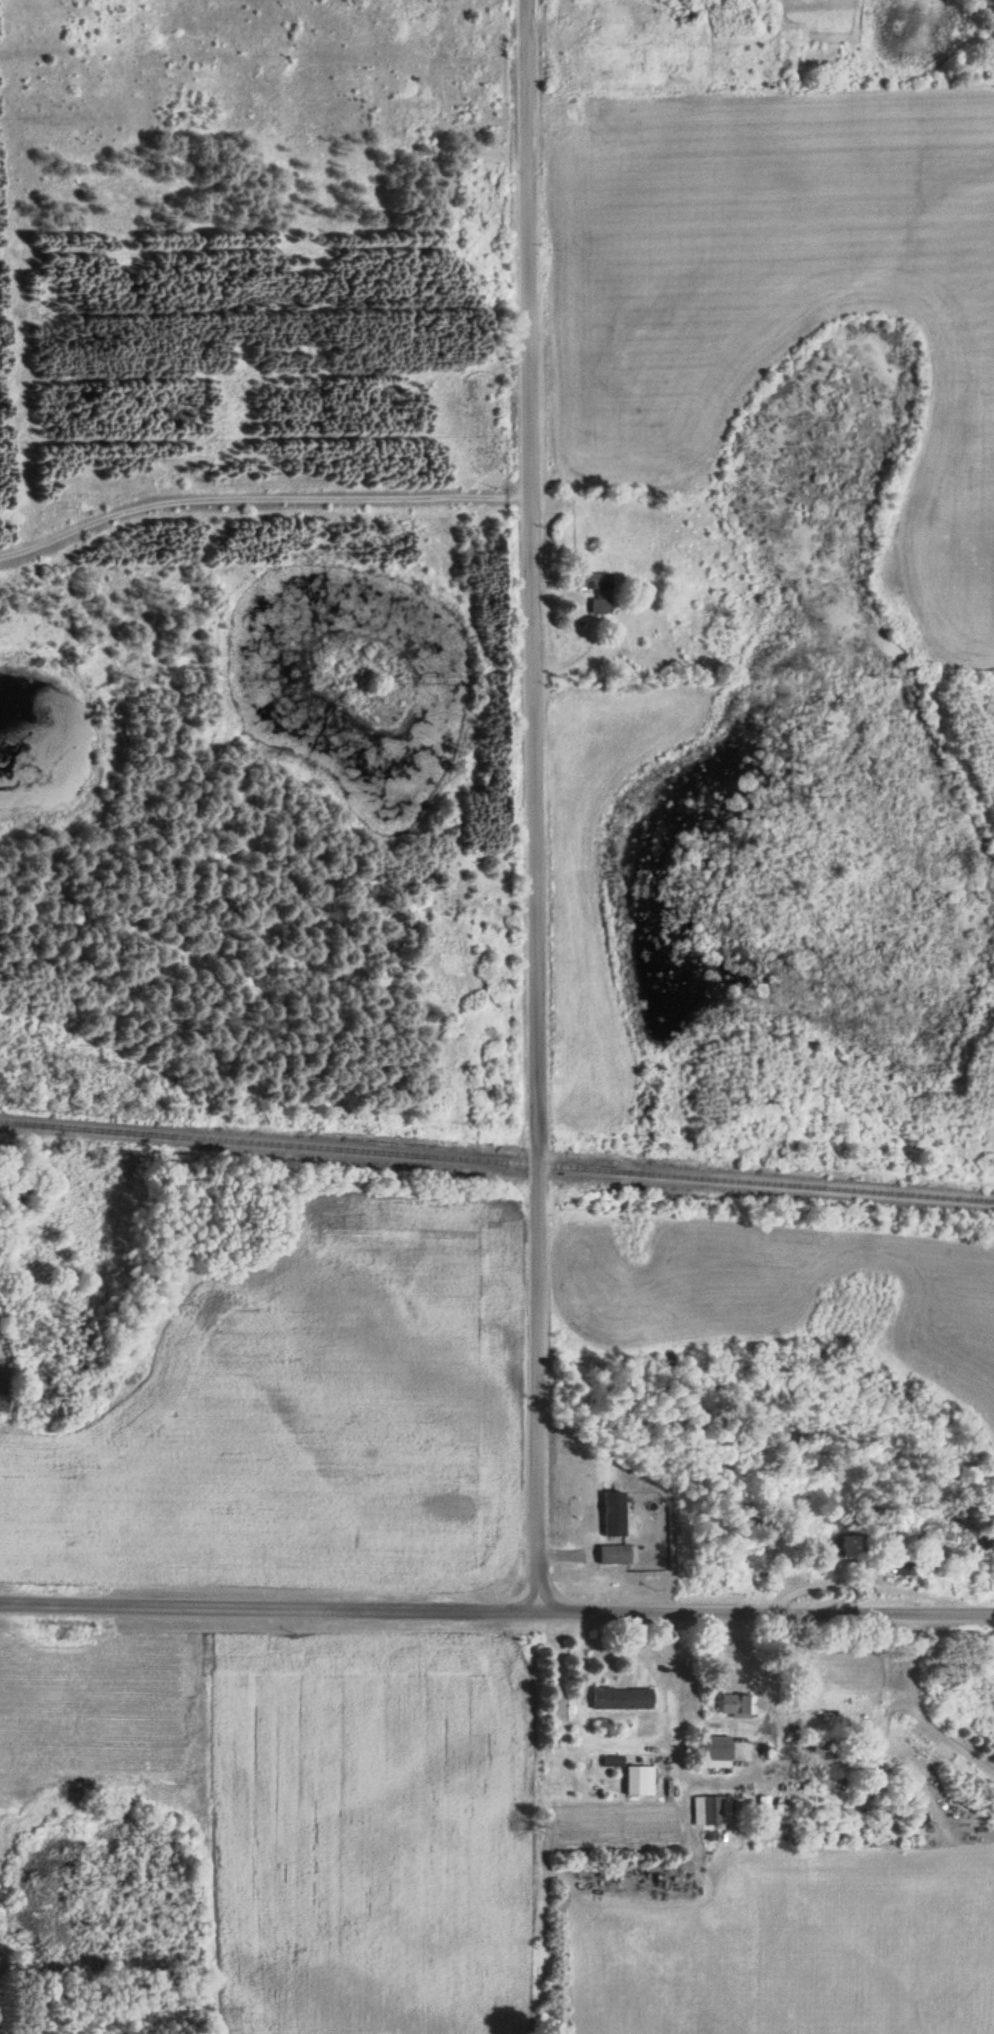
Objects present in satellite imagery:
building: (600, 591)
road: (533, 804)
railway: (497, 1156)
building: (614, 1514)
building: (848, 1550)
building: (616, 1554)
building: (908, 1564)
road: (496, 1609)
building: (624, 1698)
building: (737, 1705)
building: (719, 1752)
building: (614, 1761)
building: (641, 1781)
building: (713, 1811)

